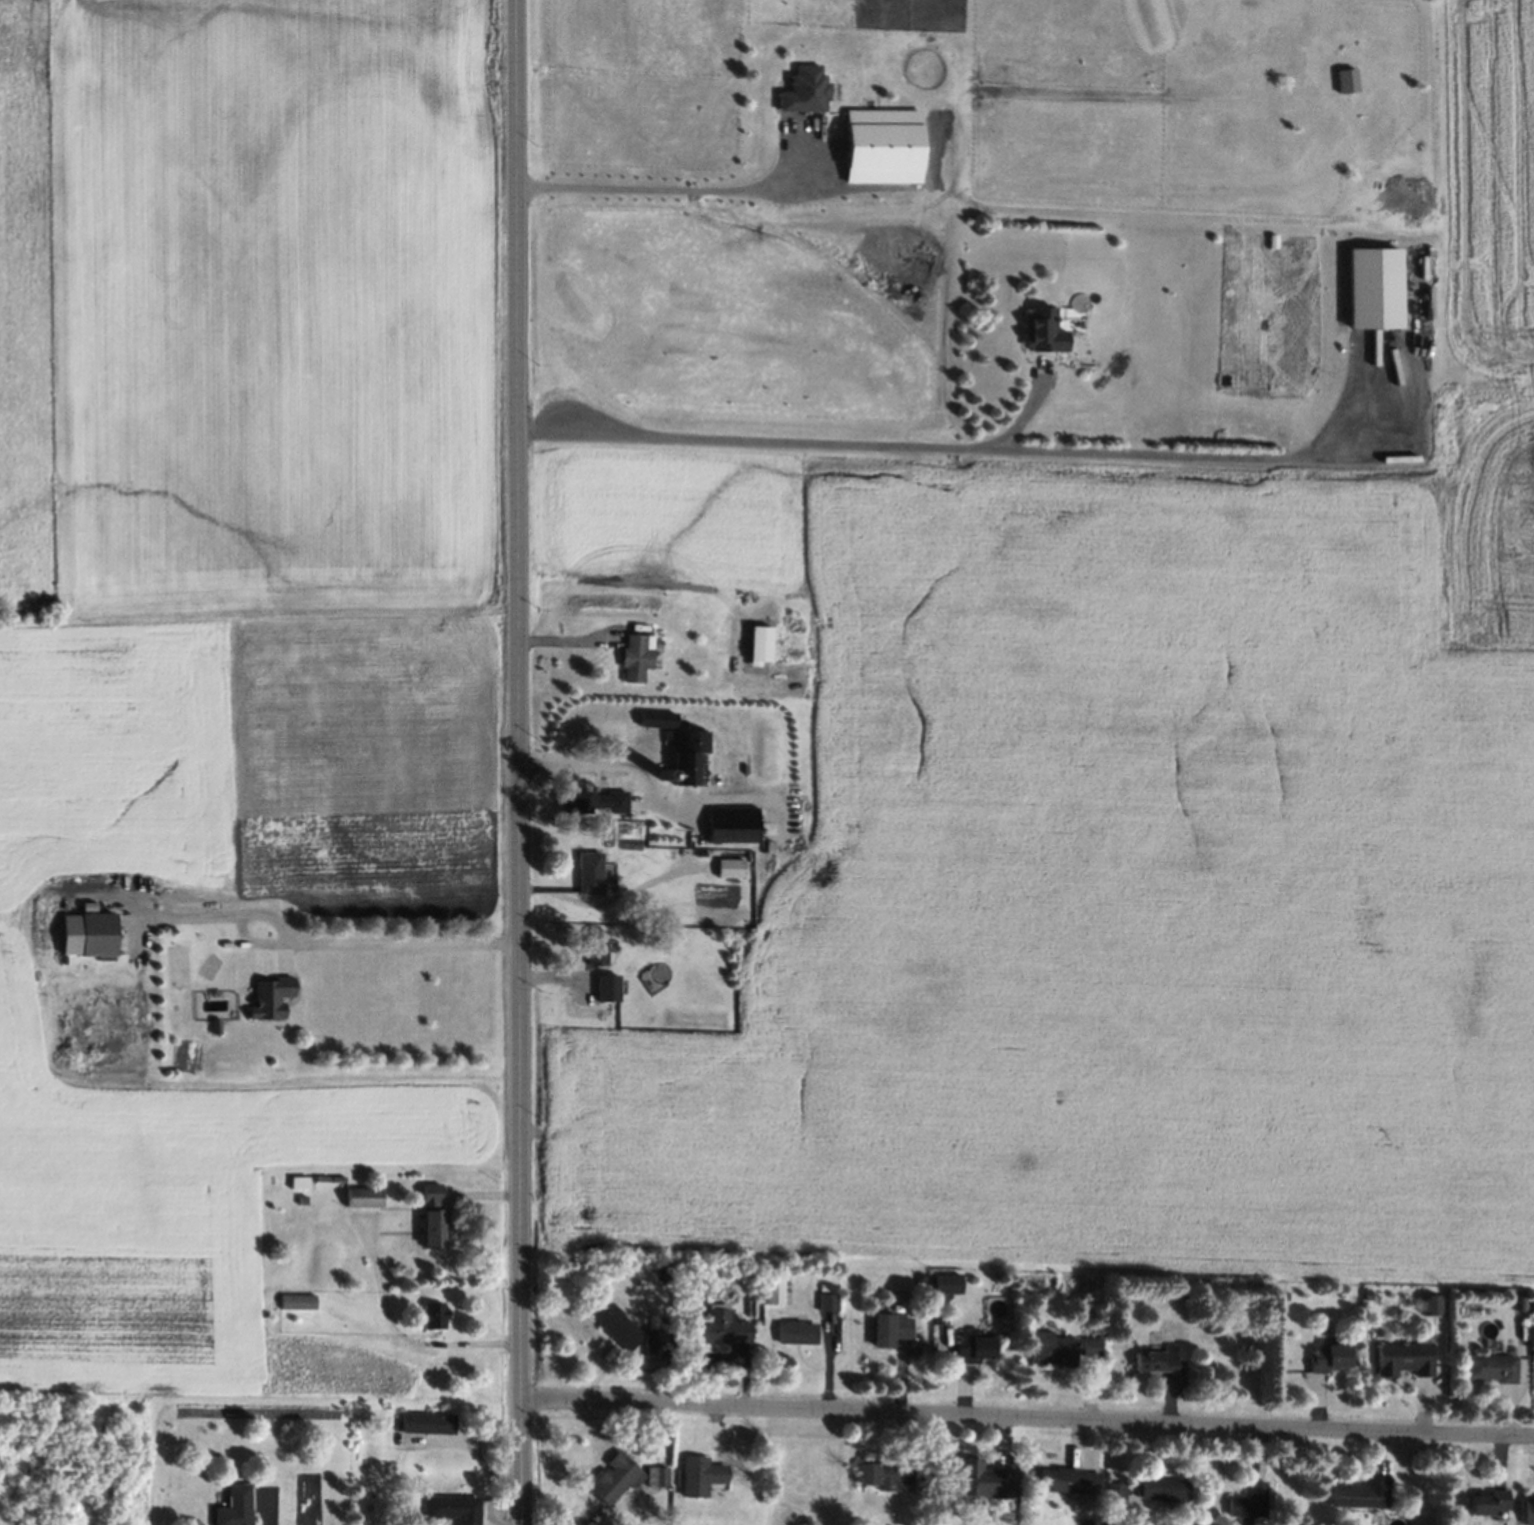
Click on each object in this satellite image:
building: (1342, 79)
building: (800, 89)
building: (880, 143)
road: (660, 188)
crop: (1493, 195)
building: (1369, 287)
building: (1070, 320)
building: (1041, 329)
road: (1029, 407)
road: (941, 445)
building: (756, 645)
building: (632, 656)
building: (652, 715)
building: (688, 759)
road: (519, 762)
building: (663, 762)
road: (620, 763)
building: (660, 781)
building: (667, 795)
building: (587, 798)
building: (728, 823)
building: (662, 833)
building: (726, 867)
building: (586, 872)
building: (84, 937)
road: (330, 940)
building: (593, 946)
building: (605, 985)
building: (267, 996)
building: (211, 1025)
building: (324, 1177)
building: (293, 1180)
building: (359, 1195)
building: (298, 1198)
building: (430, 1215)
building: (943, 1282)
building: (769, 1287)
building: (1362, 1291)
building: (1277, 1295)
building: (294, 1300)
building: (823, 1300)
building: (1514, 1302)
building: (1424, 1305)
building: (431, 1314)
building: (612, 1323)
building: (884, 1327)
building: (716, 1328)
building: (791, 1331)
building: (650, 1343)
building: (1085, 1345)
building: (968, 1347)
building: (1046, 1347)
building: (1321, 1356)
building: (1397, 1356)
building: (1150, 1358)
building: (1484, 1366)
road: (1028, 1415)
building: (424, 1422)
building: (696, 1474)
building: (880, 1474)
building: (654, 1475)
building: (613, 1477)
building: (1062, 1479)
building: (973, 1480)
building: (1156, 1487)
building: (1111, 1489)
building: (1357, 1492)
building: (1244, 1500)
building: (1482, 1500)
building: (230, 1506)
road: (267, 1507)
building: (454, 1507)
building: (1527, 1507)

